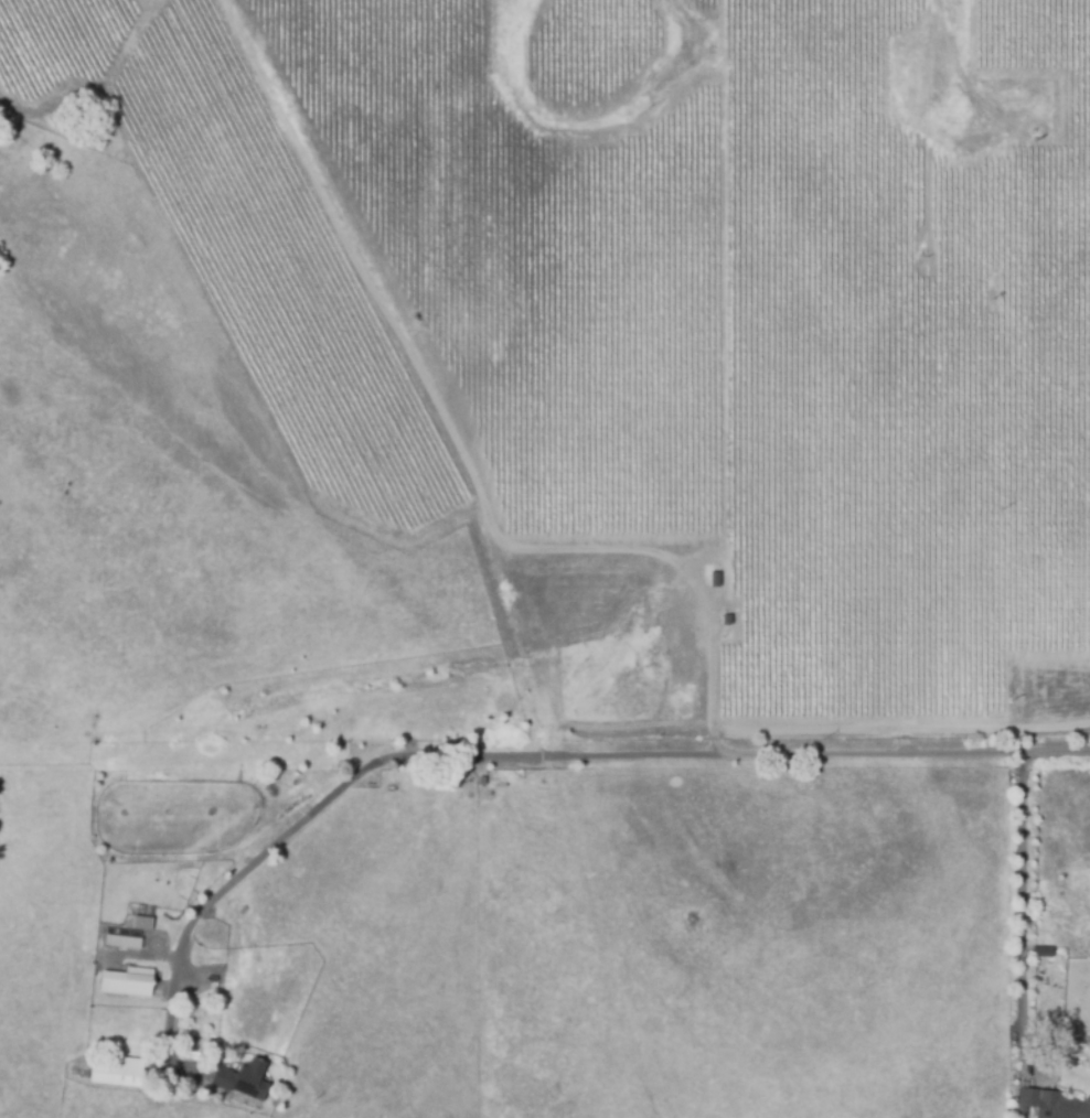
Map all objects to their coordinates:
road: (713, 677)
road: (553, 759)
building: (496, 780)
building: (482, 782)
road: (1019, 895)
building: (142, 925)
building: (124, 945)
building: (1041, 953)
building: (128, 982)
building: (119, 1075)
building: (243, 1081)
building: (1051, 1105)

